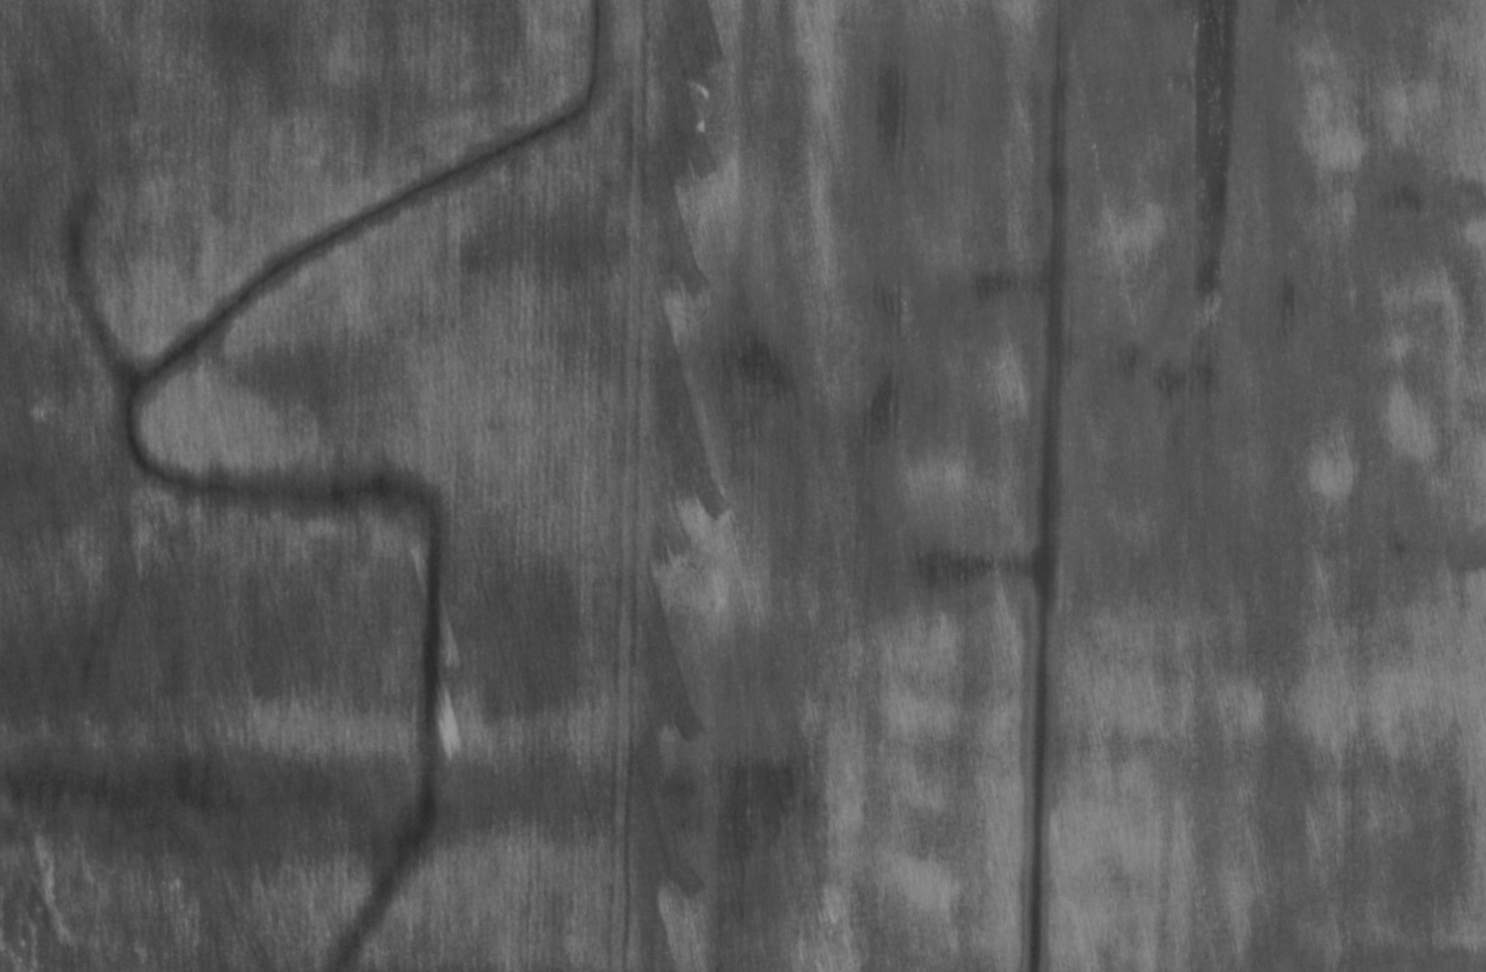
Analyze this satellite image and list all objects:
crop: (315, 482)
crop: (1058, 488)

